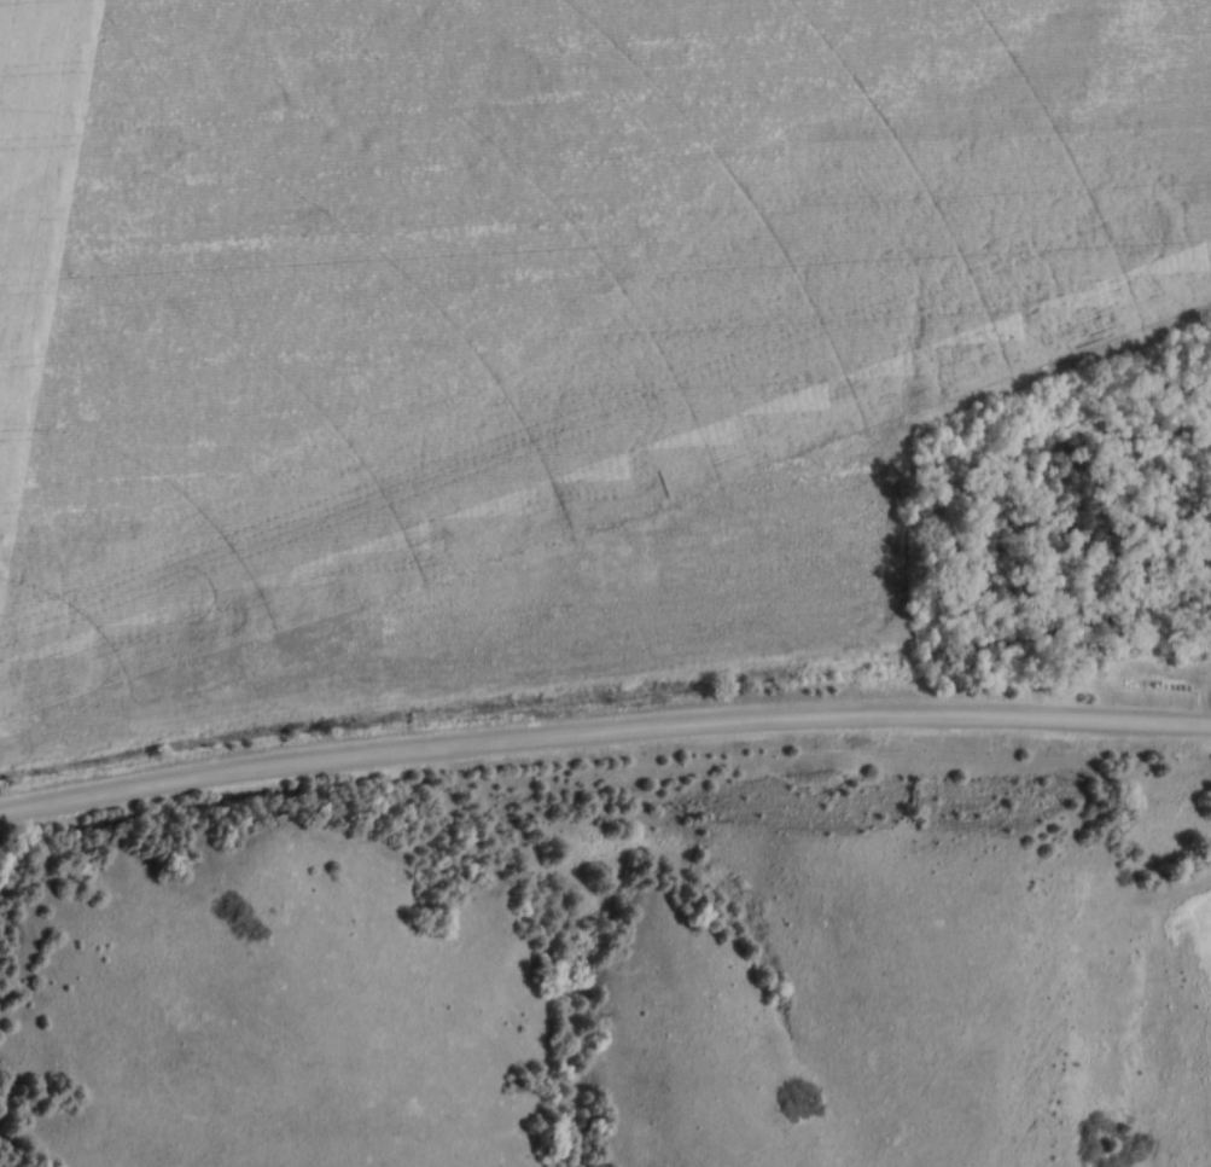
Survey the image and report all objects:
road: (602, 732)

